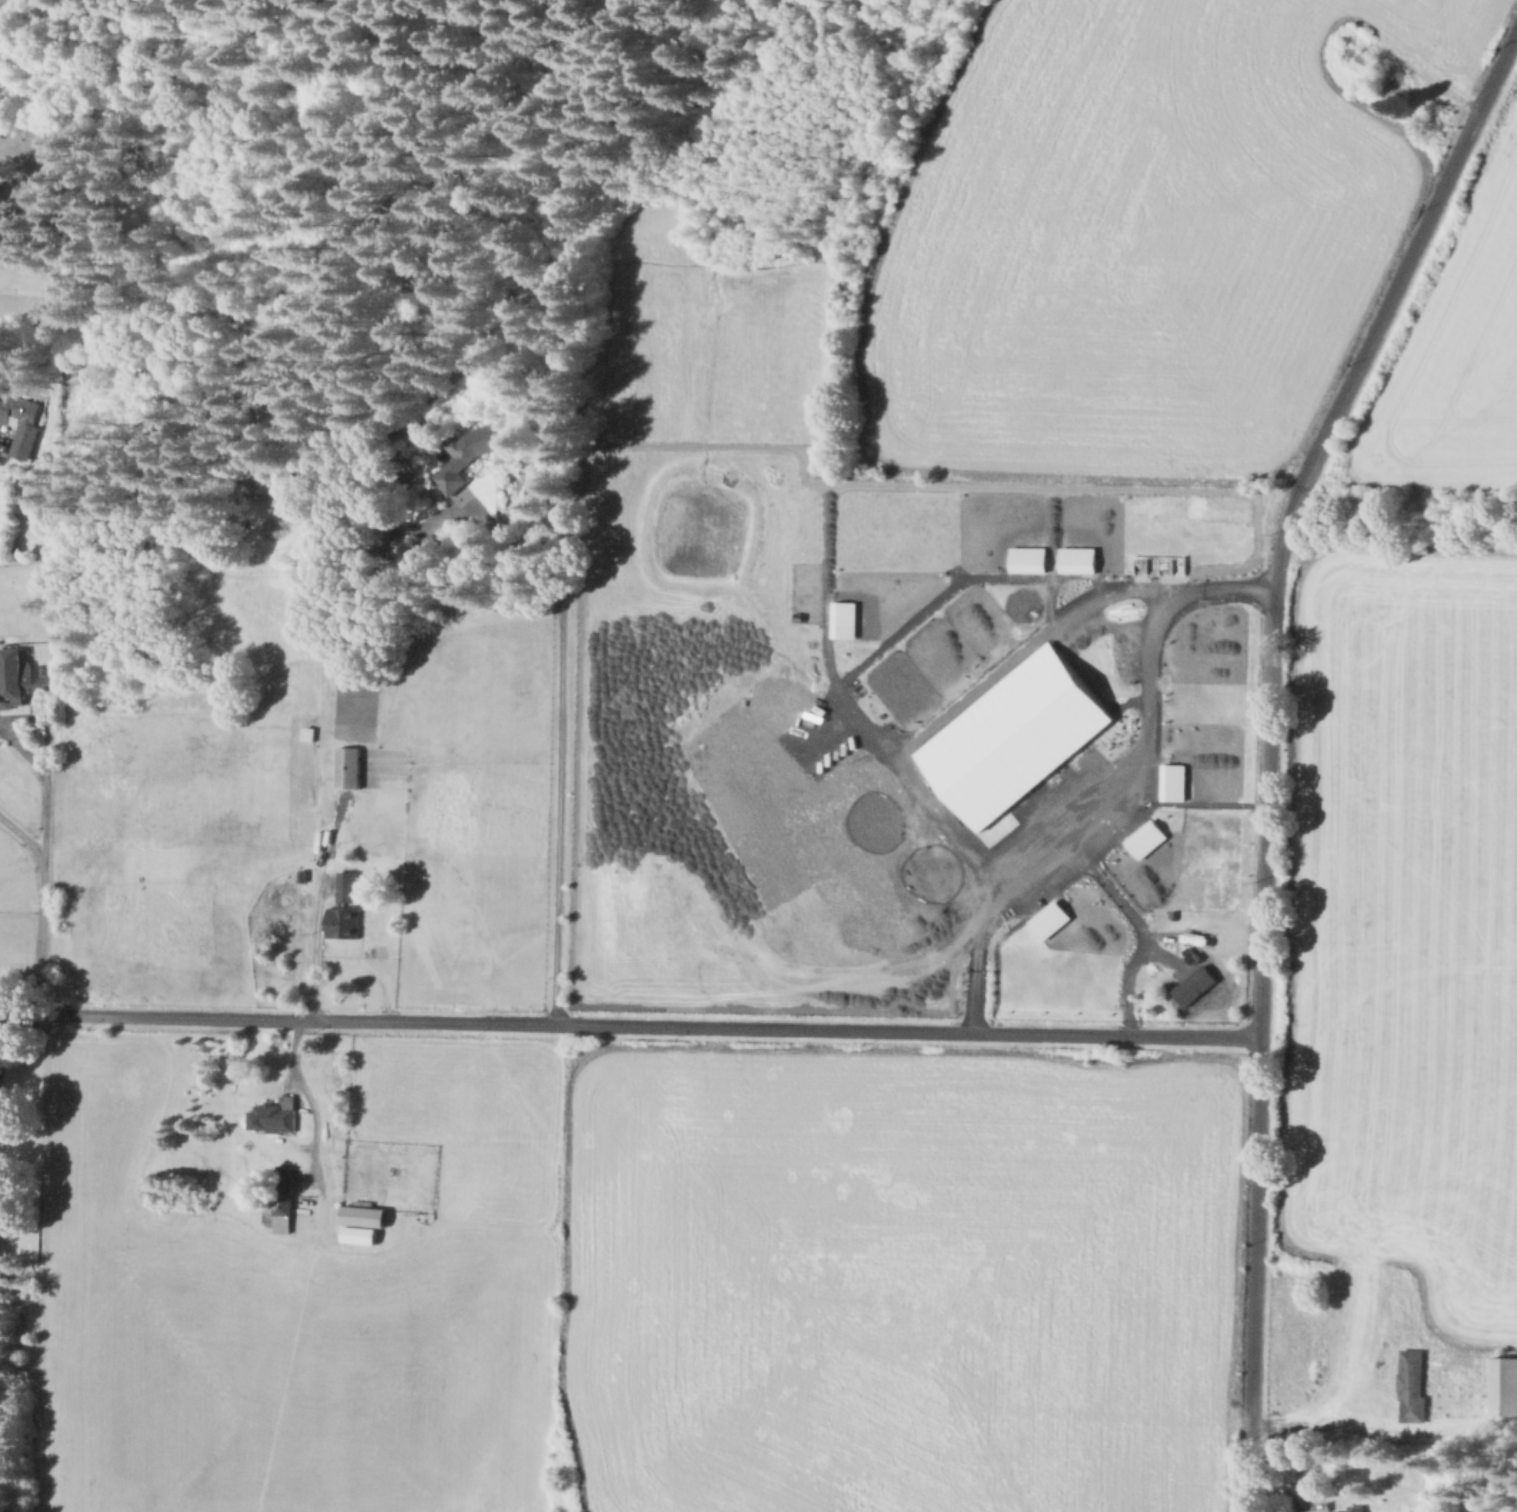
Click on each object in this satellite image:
building: (1366, 64)
road: (1422, 73)
building: (1392, 83)
crop: (1137, 235)
crop: (1455, 346)
building: (15, 408)
building: (470, 454)
road: (968, 484)
building: (39, 503)
building: (426, 545)
building: (402, 549)
building: (1026, 558)
building: (1076, 558)
road: (826, 584)
road: (947, 588)
road: (673, 594)
building: (842, 620)
road: (1023, 645)
building: (1119, 652)
building: (22, 669)
building: (1013, 735)
building: (812, 740)
road: (1269, 744)
road: (558, 747)
road: (27, 759)
road: (48, 766)
building: (351, 768)
building: (1171, 781)
road: (1130, 790)
road: (914, 792)
building: (1144, 838)
road: (318, 871)
building: (304, 876)
building: (349, 887)
road: (573, 898)
road: (40, 906)
building: (1048, 918)
building: (345, 923)
crop: (1408, 925)
road: (1141, 928)
road: (350, 966)
road: (630, 1025)
road: (309, 1099)
building: (276, 1116)
building: (284, 1203)
building: (361, 1215)
building: (357, 1234)
crop: (896, 1278)
building: (1504, 1386)
building: (1413, 1388)
road: (1367, 1428)
building: (1354, 1508)

